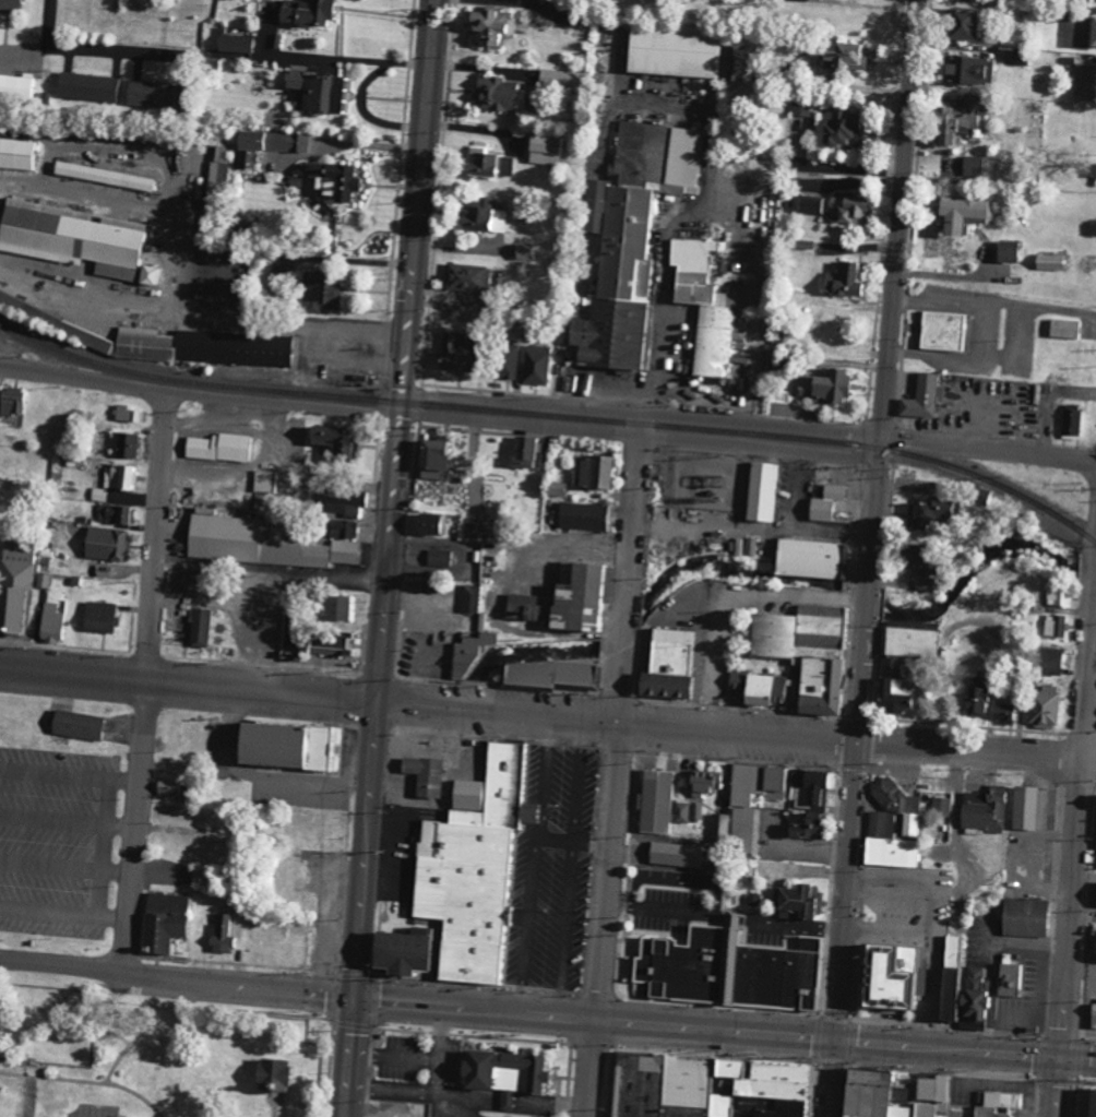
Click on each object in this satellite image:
building: (810, 0)
building: (10, 5)
building: (303, 13)
building: (958, 22)
building: (489, 24)
building: (1092, 32)
building: (235, 45)
building: (681, 51)
road: (348, 59)
building: (964, 69)
building: (556, 78)
building: (1084, 81)
building: (87, 88)
building: (318, 91)
building: (498, 93)
building: (150, 95)
building: (801, 107)
road: (367, 114)
building: (836, 128)
building: (119, 135)
building: (543, 150)
building: (247, 151)
building: (19, 154)
building: (486, 165)
building: (972, 165)
building: (760, 167)
building: (1095, 171)
building: (105, 176)
building: (331, 179)
building: (807, 204)
building: (955, 211)
building: (480, 216)
building: (630, 236)
building: (75, 239)
building: (525, 250)
building: (1004, 250)
building: (1048, 261)
building: (466, 276)
building: (844, 280)
building: (319, 292)
road: (994, 302)
building: (708, 305)
building: (1063, 329)
building: (939, 330)
building: (174, 341)
building: (451, 350)
road: (963, 358)
building: (505, 360)
building: (535, 365)
building: (826, 384)
road: (201, 391)
building: (919, 397)
building: (11, 401)
building: (128, 413)
road: (644, 414)
railway: (552, 416)
building: (1070, 424)
road: (643, 432)
building: (329, 439)
building: (123, 444)
building: (218, 448)
road: (989, 448)
building: (523, 450)
building: (432, 459)
building: (592, 472)
building: (120, 477)
building: (264, 482)
building: (761, 491)
building: (99, 495)
road: (396, 497)
building: (823, 502)
building: (344, 503)
road: (634, 504)
building: (927, 512)
building: (116, 513)
building: (581, 516)
road: (877, 519)
building: (429, 524)
building: (478, 527)
building: (344, 528)
building: (250, 540)
building: (106, 543)
building: (344, 551)
building: (438, 558)
building: (809, 558)
building: (914, 558)
building: (917, 583)
building: (14, 584)
building: (1057, 596)
building: (469, 598)
building: (568, 598)
building: (335, 607)
building: (99, 617)
road: (628, 621)
building: (50, 622)
building: (1053, 625)
building: (199, 627)
building: (315, 642)
building: (803, 651)
building: (468, 653)
building: (902, 661)
building: (1049, 661)
building: (666, 664)
building: (547, 674)
road: (147, 678)
building: (763, 690)
road: (428, 700)
building: (974, 701)
building: (1043, 706)
building: (1002, 709)
building: (76, 725)
road: (977, 745)
building: (283, 746)
road: (70, 774)
building: (424, 775)
building: (700, 782)
building: (812, 784)
building: (169, 789)
building: (655, 800)
building: (897, 804)
building: (940, 806)
building: (1023, 807)
building: (681, 811)
building: (984, 811)
building: (696, 812)
road: (68, 822)
building: (743, 822)
building: (718, 823)
building: (880, 823)
building: (802, 824)
building: (1095, 825)
road: (613, 831)
road: (1079, 839)
building: (889, 852)
building: (672, 854)
building: (470, 867)
road: (67, 868)
building: (1095, 896)
building: (798, 902)
road: (64, 913)
building: (1022, 916)
building: (162, 920)
building: (222, 934)
building: (725, 969)
road: (178, 975)
building: (889, 975)
building: (1009, 979)
building: (943, 994)
building: (969, 999)
road: (595, 1015)
building: (1092, 1015)
park: (167, 1045)
road: (965, 1047)
road: (354, 1056)
road: (593, 1066)
building: (499, 1072)
building: (271, 1076)
road: (831, 1077)
building: (701, 1086)
road: (1057, 1086)
building: (889, 1095)
building: (505, 1101)
building: (1084, 1103)
building: (994, 1105)

